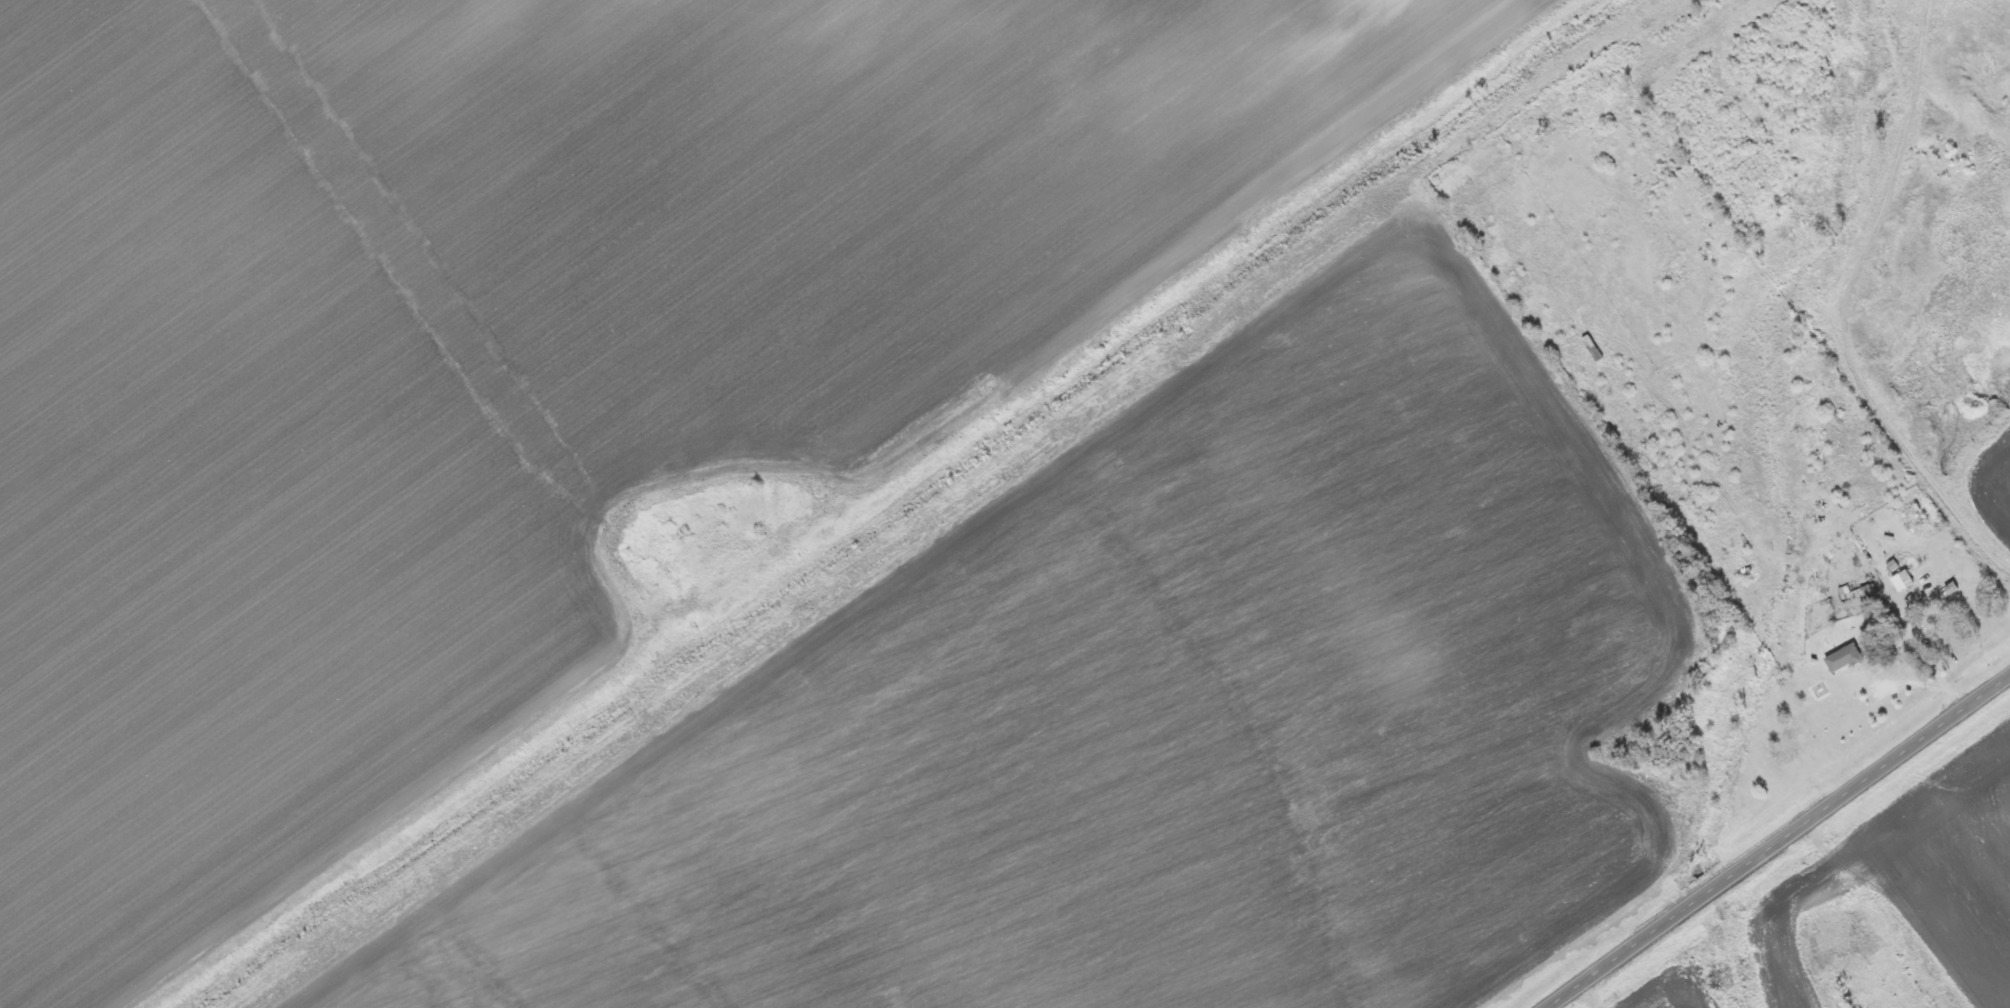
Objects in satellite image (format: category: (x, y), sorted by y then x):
building: (1842, 660)
road: (1779, 842)
road: (1796, 906)

